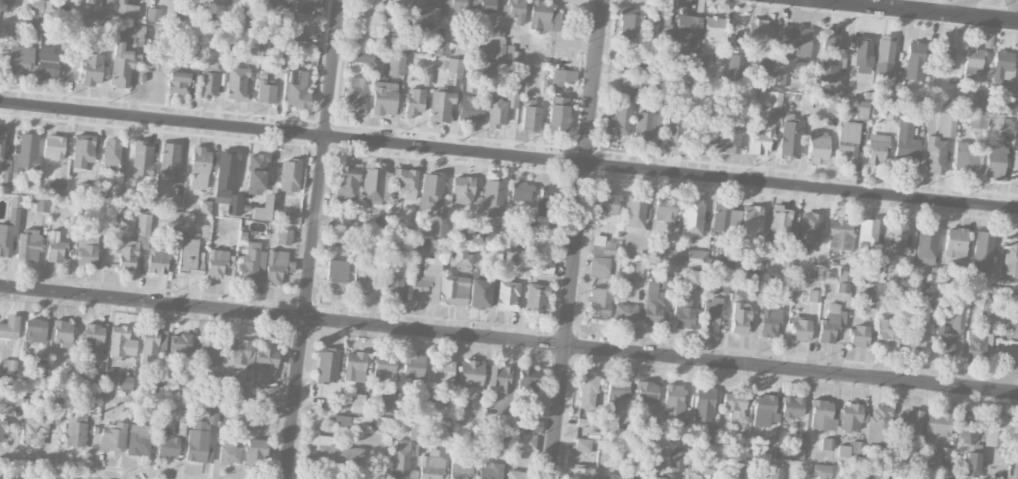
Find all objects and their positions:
building: (279, 0)
building: (7, 4)
building: (396, 4)
building: (305, 6)
building: (483, 6)
road: (1015, 6)
road: (956, 7)
building: (95, 8)
building: (127, 10)
building: (514, 10)
road: (913, 11)
building: (423, 12)
building: (153, 14)
building: (543, 17)
building: (241, 21)
building: (630, 22)
building: (658, 25)
building: (713, 27)
building: (688, 31)
building: (756, 32)
building: (795, 44)
building: (266, 47)
building: (443, 48)
building: (506, 53)
building: (280, 54)
building: (361, 55)
building: (862, 55)
building: (884, 56)
building: (831, 57)
building: (122, 58)
building: (943, 58)
building: (915, 61)
building: (48, 63)
building: (396, 63)
building: (972, 63)
building: (19, 64)
building: (734, 67)
building: (1001, 67)
building: (92, 68)
building: (764, 69)
building: (453, 71)
building: (705, 75)
building: (562, 76)
building: (777, 77)
building: (897, 81)
building: (177, 82)
building: (236, 84)
building: (208, 85)
building: (265, 89)
building: (297, 89)
building: (356, 94)
building: (384, 98)
building: (414, 101)
building: (772, 103)
building: (501, 105)
building: (831, 105)
building: (441, 106)
building: (1009, 107)
building: (470, 108)
building: (861, 110)
building: (890, 112)
building: (558, 113)
building: (620, 113)
building: (923, 113)
building: (531, 118)
building: (946, 122)
building: (1009, 124)
building: (644, 126)
building: (673, 129)
building: (702, 132)
building: (731, 134)
building: (790, 136)
building: (761, 138)
building: (848, 140)
building: (906, 142)
building: (1, 144)
building: (817, 145)
building: (53, 147)
building: (876, 148)
building: (83, 150)
building: (111, 151)
building: (26, 152)
building: (934, 155)
road: (508, 157)
building: (168, 158)
building: (965, 158)
building: (142, 159)
building: (994, 159)
building: (1014, 166)
building: (199, 168)
building: (255, 174)
building: (289, 175)
building: (347, 180)
building: (227, 181)
building: (406, 182)
building: (376, 184)
building: (55, 188)
building: (87, 188)
building: (117, 189)
building: (431, 190)
building: (462, 190)
building: (521, 192)
building: (181, 193)
building: (149, 194)
building: (493, 197)
building: (607, 206)
building: (205, 207)
building: (263, 208)
building: (665, 209)
building: (635, 213)
building: (41, 216)
building: (292, 216)
building: (722, 216)
building: (692, 217)
building: (751, 220)
building: (779, 222)
building: (527, 228)
building: (810, 229)
building: (868, 231)
building: (839, 235)
building: (283, 236)
road: (313, 239)
road: (577, 239)
building: (897, 239)
building: (926, 240)
building: (955, 243)
building: (5, 244)
building: (28, 244)
building: (132, 244)
building: (602, 246)
building: (55, 251)
building: (87, 251)
building: (789, 251)
building: (982, 252)
building: (1010, 254)
building: (190, 255)
building: (460, 256)
building: (670, 257)
building: (697, 258)
building: (160, 259)
building: (218, 263)
building: (252, 264)
building: (758, 264)
building: (277, 266)
building: (544, 266)
building: (599, 266)
building: (639, 269)
building: (844, 272)
building: (337, 275)
building: (361, 277)
building: (934, 278)
building: (426, 280)
building: (754, 282)
building: (392, 286)
building: (725, 286)
building: (842, 287)
building: (453, 290)
building: (479, 293)
building: (507, 295)
building: (813, 295)
building: (536, 298)
building: (599, 303)
building: (653, 303)
building: (988, 306)
building: (685, 312)
building: (625, 313)
building: (711, 314)
building: (740, 318)
building: (956, 319)
building: (769, 322)
building: (831, 323)
building: (9, 327)
building: (800, 329)
building: (34, 330)
building: (63, 334)
building: (886, 334)
building: (92, 336)
building: (859, 336)
building: (915, 338)
road: (508, 340)
building: (162, 341)
building: (121, 342)
building: (944, 342)
building: (149, 343)
building: (180, 343)
building: (977, 344)
building: (209, 352)
building: (240, 353)
building: (266, 356)
building: (69, 365)
building: (327, 365)
building: (8, 366)
building: (413, 366)
building: (355, 367)
building: (383, 367)
building: (39, 369)
building: (442, 373)
building: (470, 373)
building: (499, 376)
building: (94, 378)
building: (118, 381)
building: (267, 382)
building: (527, 382)
building: (587, 391)
building: (646, 391)
building: (615, 393)
building: (11, 398)
building: (673, 399)
building: (357, 403)
building: (387, 403)
building: (703, 404)
building: (733, 405)
building: (792, 407)
building: (764, 410)
building: (820, 414)
building: (852, 417)
building: (909, 420)
building: (350, 421)
building: (503, 421)
building: (41, 422)
building: (937, 423)
building: (878, 424)
building: (532, 425)
building: (968, 428)
building: (1, 429)
building: (76, 430)
building: (740, 431)
building: (995, 431)
building: (112, 437)
building: (139, 440)
building: (167, 440)
building: (527, 441)
building: (583, 444)
building: (826, 444)
building: (255, 450)
building: (329, 450)
building: (915, 450)
building: (229, 452)
building: (405, 452)
building: (797, 452)
building: (663, 455)
building: (677, 460)
building: (971, 464)
building: (431, 465)
building: (706, 465)
building: (462, 468)
building: (646, 469)
building: (490, 470)
building: (735, 470)
building: (821, 471)
building: (580, 473)
building: (775, 473)
building: (412, 474)
building: (515, 474)
road: (20, 476)
building: (617, 476)
building: (661, 478)
building: (867, 478)

